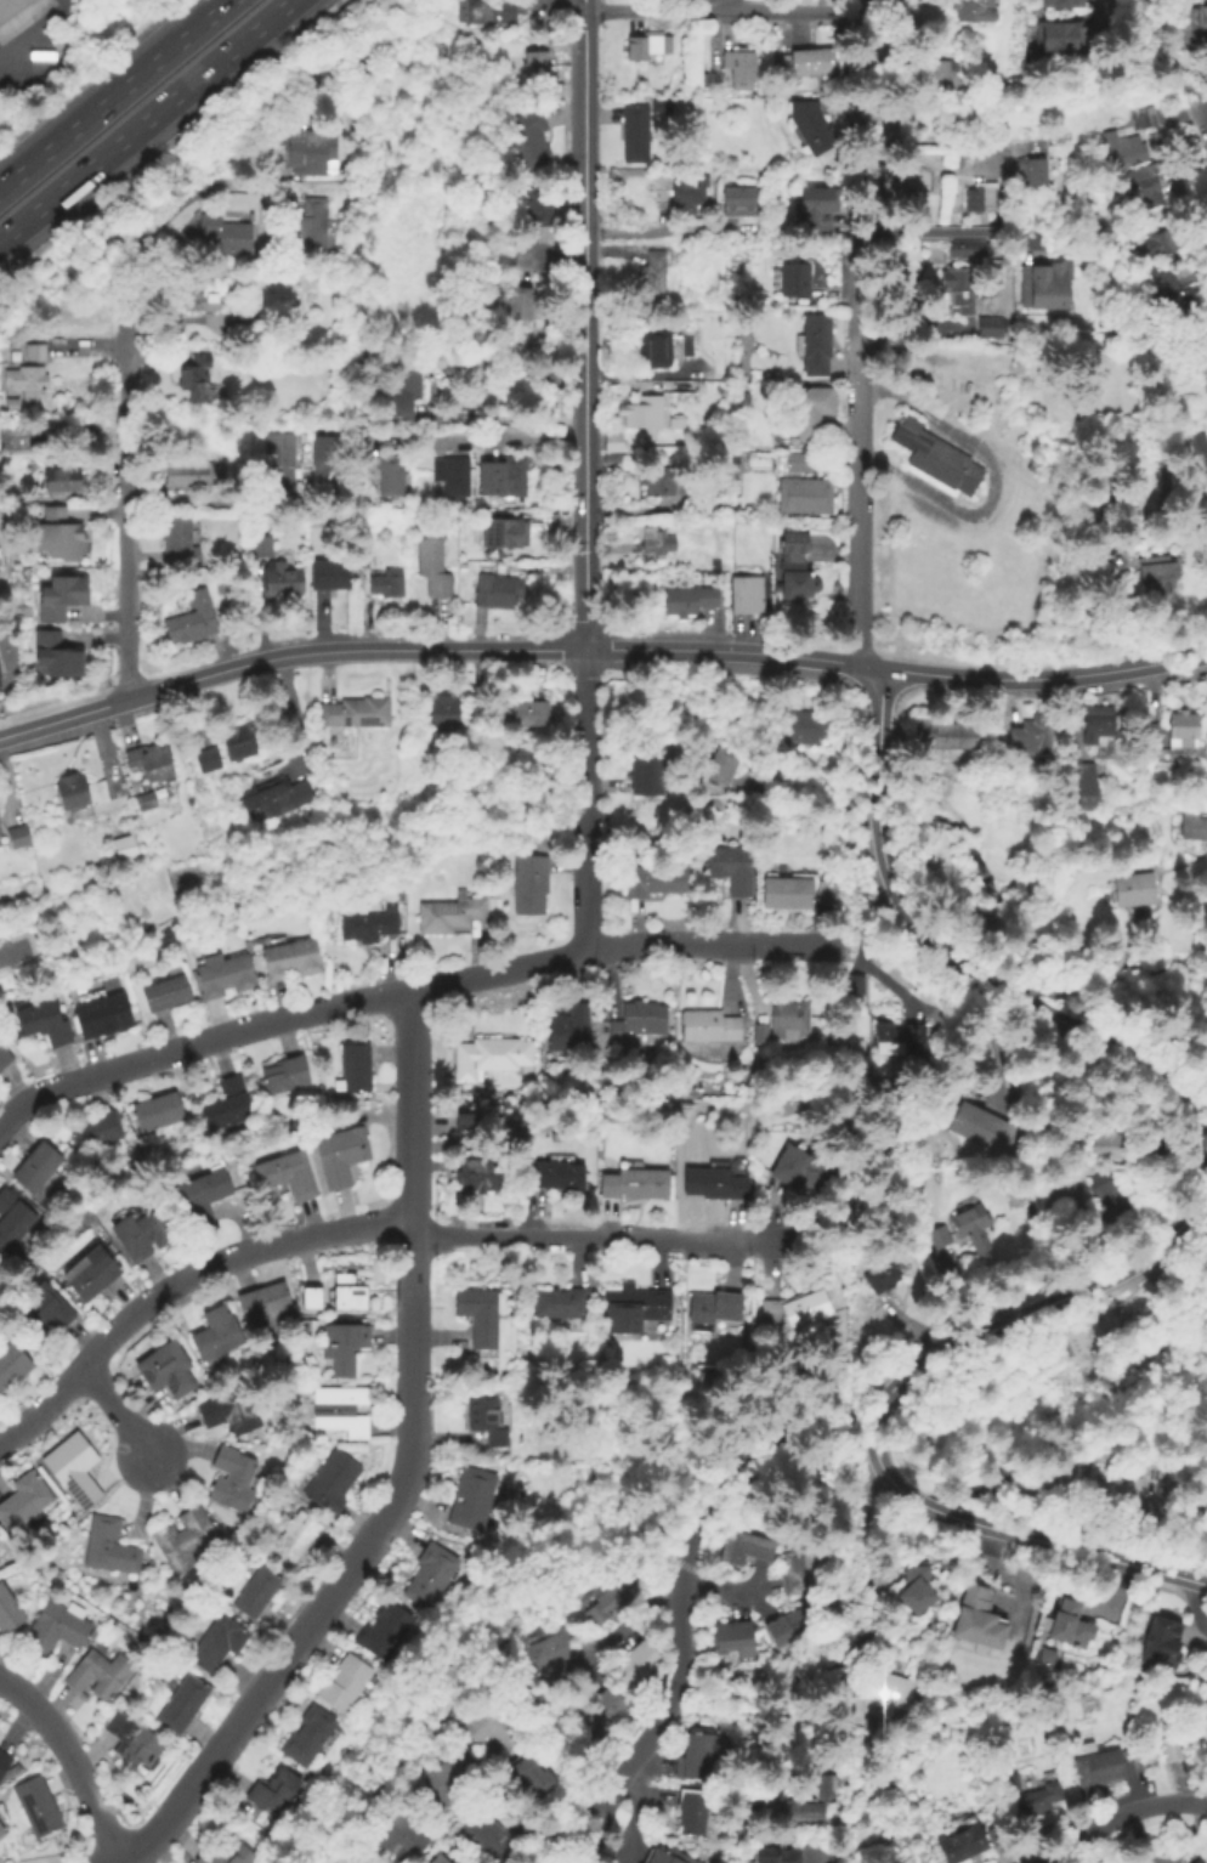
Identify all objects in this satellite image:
building: (1060, 4)
road: (848, 5)
building: (8, 6)
road: (584, 6)
building: (965, 7)
road: (733, 10)
building: (493, 12)
building: (1191, 24)
building: (1060, 36)
road: (40, 38)
building: (651, 44)
building: (817, 58)
building: (532, 63)
building: (746, 66)
building: (939, 73)
road: (1144, 77)
building: (554, 89)
road: (113, 94)
building: (665, 104)
road: (141, 117)
road: (1205, 118)
building: (817, 123)
building: (640, 130)
building: (1126, 137)
building: (532, 140)
building: (312, 151)
building: (1028, 168)
building: (1104, 179)
building: (895, 181)
building: (1140, 183)
building: (696, 188)
building: (738, 203)
building: (974, 203)
building: (816, 209)
building: (543, 211)
road: (857, 221)
building: (311, 223)
road: (918, 230)
building: (228, 233)
building: (963, 244)
road: (529, 260)
building: (1146, 260)
building: (657, 274)
building: (800, 277)
building: (956, 285)
building: (1045, 288)
building: (203, 291)
building: (531, 302)
building: (1164, 304)
building: (1191, 313)
building: (242, 318)
building: (987, 325)
road: (586, 332)
building: (820, 342)
building: (687, 349)
building: (1206, 349)
building: (656, 350)
building: (33, 353)
building: (477, 357)
building: (195, 378)
building: (28, 383)
building: (408, 387)
building: (1205, 387)
building: (471, 398)
building: (1043, 402)
building: (814, 409)
building: (647, 412)
road: (504, 435)
building: (13, 436)
building: (614, 444)
building: (1196, 446)
building: (329, 447)
building: (284, 458)
building: (933, 458)
building: (1035, 459)
road: (126, 470)
building: (387, 471)
building: (511, 472)
building: (189, 474)
building: (454, 475)
road: (992, 475)
building: (67, 479)
building: (662, 479)
building: (805, 483)
road: (857, 505)
building: (511, 533)
building: (63, 536)
building: (182, 538)
building: (659, 539)
building: (263, 543)
building: (363, 554)
road: (6, 560)
building: (436, 566)
building: (334, 571)
building: (795, 571)
building: (1154, 576)
building: (285, 581)
building: (391, 582)
building: (500, 591)
building: (749, 593)
building: (64, 598)
building: (692, 599)
building: (195, 619)
road: (501, 652)
building: (59, 657)
building: (0, 669)
building: (1, 674)
road: (1047, 680)
road: (107, 695)
building: (357, 712)
building: (447, 712)
building: (525, 712)
road: (61, 721)
building: (807, 726)
building: (1095, 727)
building: (1179, 729)
building: (1027, 731)
building: (939, 734)
building: (244, 738)
building: (1086, 751)
building: (209, 757)
building: (152, 758)
building: (725, 765)
building: (653, 774)
building: (1082, 786)
building: (74, 791)
road: (814, 794)
building: (267, 797)
building: (144, 800)
road: (586, 802)
building: (1191, 825)
building: (1, 832)
building: (21, 837)
building: (121, 845)
building: (725, 865)
building: (650, 878)
building: (534, 882)
building: (1132, 888)
building: (781, 890)
building: (821, 891)
building: (453, 912)
building: (373, 923)
road: (951, 956)
building: (297, 957)
building: (231, 975)
building: (851, 983)
road: (413, 990)
building: (171, 991)
building: (107, 1013)
building: (786, 1018)
building: (47, 1020)
building: (633, 1020)
building: (704, 1025)
building: (562, 1026)
building: (755, 1031)
building: (880, 1037)
building: (6, 1054)
building: (494, 1055)
building: (361, 1065)
building: (290, 1072)
building: (234, 1103)
building: (161, 1110)
building: (465, 1123)
building: (973, 1126)
building: (101, 1131)
building: (1098, 1142)
building: (348, 1153)
building: (41, 1166)
building: (795, 1168)
building: (293, 1171)
building: (484, 1174)
building: (567, 1176)
building: (628, 1182)
building: (707, 1183)
building: (1106, 1194)
building: (208, 1196)
building: (15, 1218)
road: (359, 1225)
building: (968, 1228)
building: (147, 1231)
building: (936, 1236)
road: (1177, 1252)
building: (97, 1272)
building: (878, 1275)
building: (352, 1297)
building: (313, 1298)
building: (267, 1301)
building: (566, 1301)
building: (631, 1306)
building: (792, 1308)
building: (47, 1309)
building: (707, 1309)
building: (484, 1314)
building: (220, 1332)
building: (1082, 1336)
building: (346, 1347)
building: (13, 1365)
building: (172, 1369)
building: (344, 1409)
road: (119, 1411)
building: (236, 1411)
building: (491, 1419)
road: (872, 1423)
building: (79, 1470)
road: (407, 1477)
building: (234, 1479)
building: (335, 1482)
building: (1037, 1484)
building: (1113, 1490)
building: (475, 1496)
building: (27, 1502)
building: (188, 1538)
building: (297, 1539)
building: (110, 1546)
building: (749, 1546)
road: (684, 1570)
building: (807, 1570)
building: (432, 1575)
building: (917, 1584)
building: (259, 1592)
building: (610, 1597)
road: (662, 1597)
building: (11, 1610)
building: (976, 1615)
road: (867, 1618)
building: (1058, 1624)
building: (59, 1629)
road: (497, 1629)
building: (798, 1629)
building: (386, 1631)
building: (743, 1638)
building: (1162, 1640)
building: (219, 1642)
building: (559, 1655)
building: (644, 1661)
building: (1205, 1661)
building: (103, 1674)
building: (347, 1683)
building: (874, 1697)
building: (186, 1704)
building: (611, 1710)
road: (545, 1718)
building: (494, 1725)
building: (310, 1735)
building: (1185, 1738)
building: (135, 1742)
building: (702, 1755)
road: (72, 1761)
building: (5, 1765)
building: (533, 1767)
building: (1089, 1767)
building: (452, 1784)
building: (278, 1791)
building: (1024, 1797)
building: (821, 1800)
road: (511, 1803)
building: (39, 1806)
road: (426, 1813)
building: (699, 1813)
road: (1122, 1814)
road: (635, 1819)
building: (2, 1830)
building: (493, 1830)
road: (568, 1830)
building: (410, 1831)
road: (591, 1836)
building: (953, 1845)
building: (227, 1853)
building: (673, 1856)
building: (788, 1856)
road: (821, 1856)
building: (436, 1858)
building: (446, 1859)
building: (356, 1861)
building: (1194, 1861)
building: (364, 1862)

